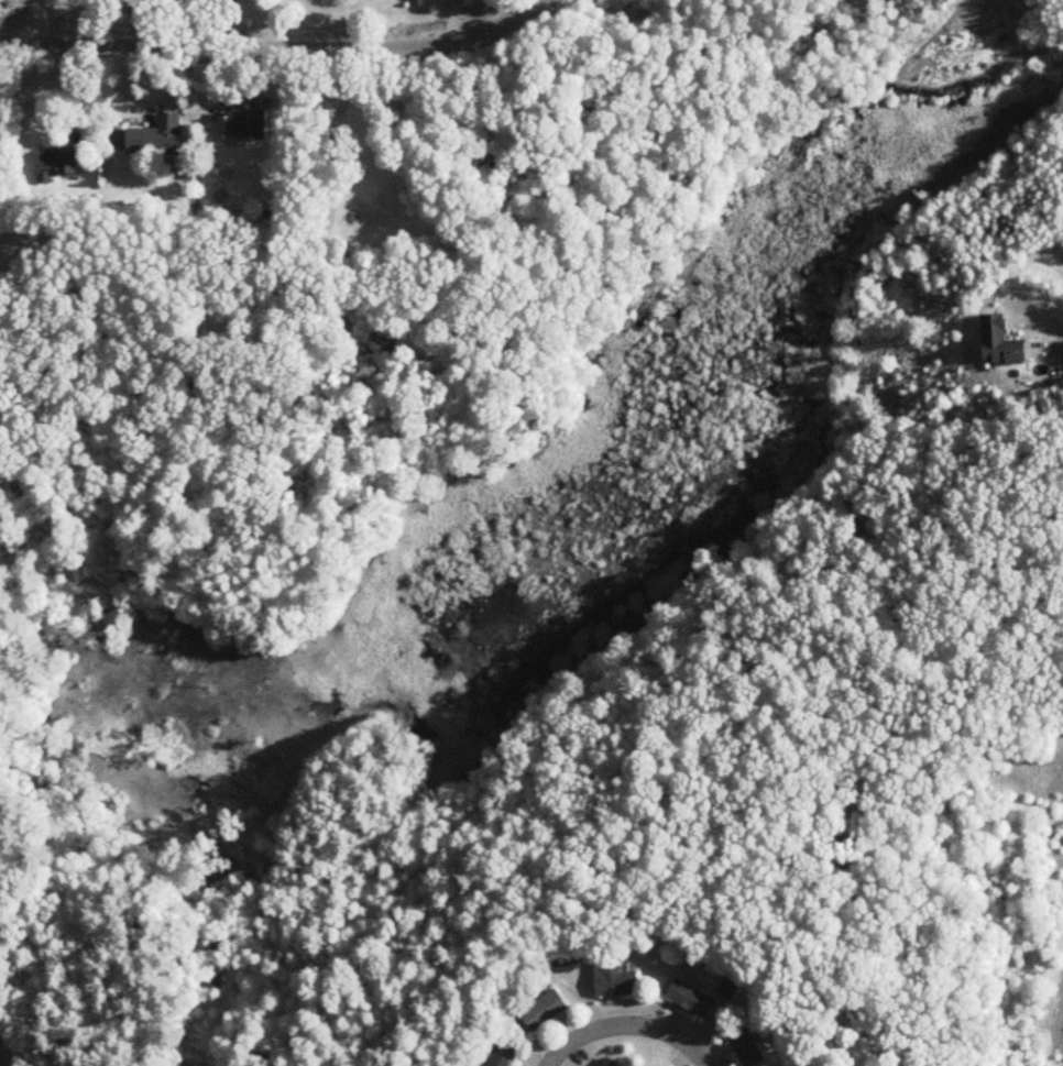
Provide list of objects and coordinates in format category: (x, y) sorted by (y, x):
road: (50, 21)
road: (230, 23)
road: (280, 47)
building: (248, 124)
building: (156, 138)
building: (56, 166)
building: (1002, 342)
building: (569, 957)
building: (616, 980)
building: (728, 988)
building: (690, 999)
building: (546, 1011)
road: (627, 1025)
building: (745, 1046)
building: (505, 1055)
building: (610, 1063)

